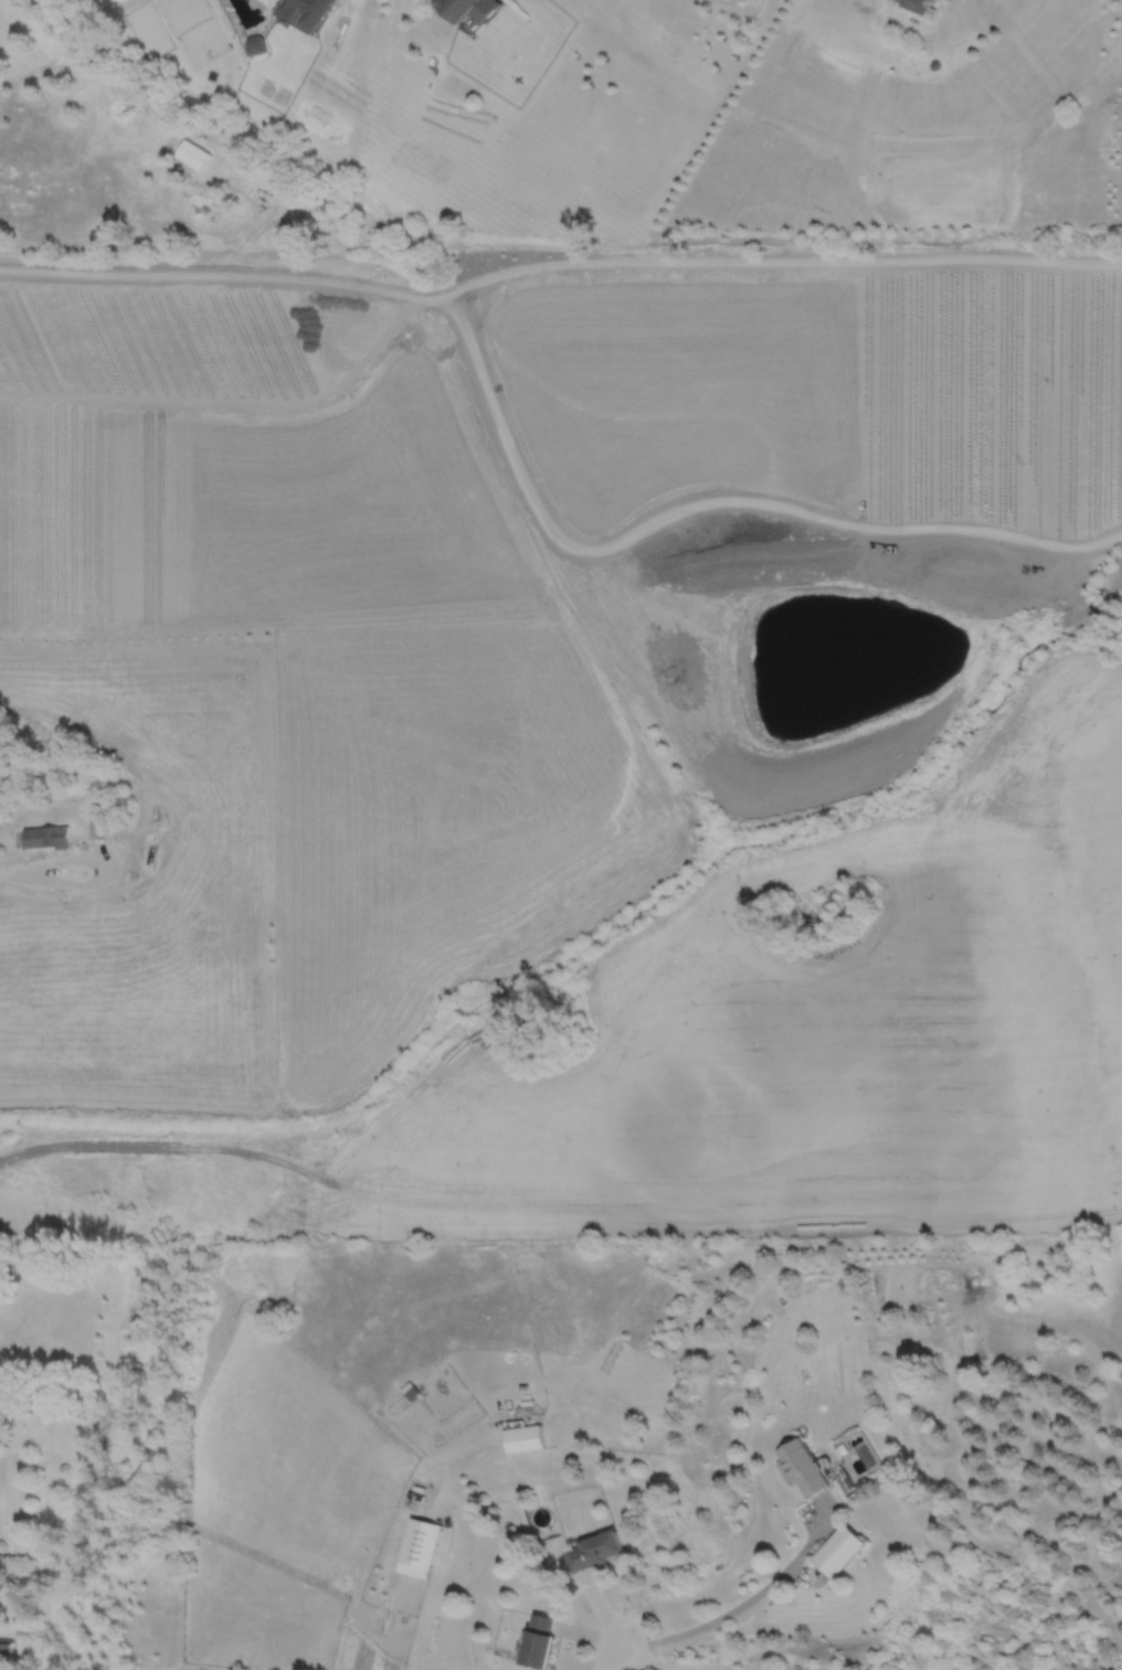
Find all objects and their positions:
building: (919, 4)
building: (462, 9)
building: (305, 12)
building: (255, 45)
road: (770, 258)
road: (213, 274)
road: (231, 400)
road: (702, 498)
park: (1101, 603)
building: (94, 829)
building: (41, 837)
building: (141, 852)
road: (42, 862)
building: (521, 1438)
building: (802, 1467)
road: (502, 1544)
building: (838, 1547)
building: (417, 1549)
building: (593, 1551)
road: (739, 1604)
building: (539, 1641)
road: (608, 1655)

